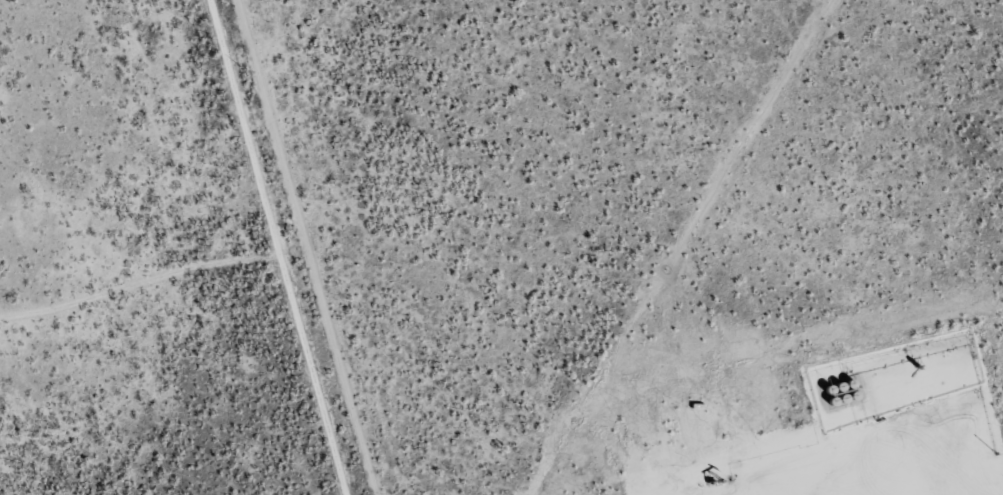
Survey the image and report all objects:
road: (351, 247)

